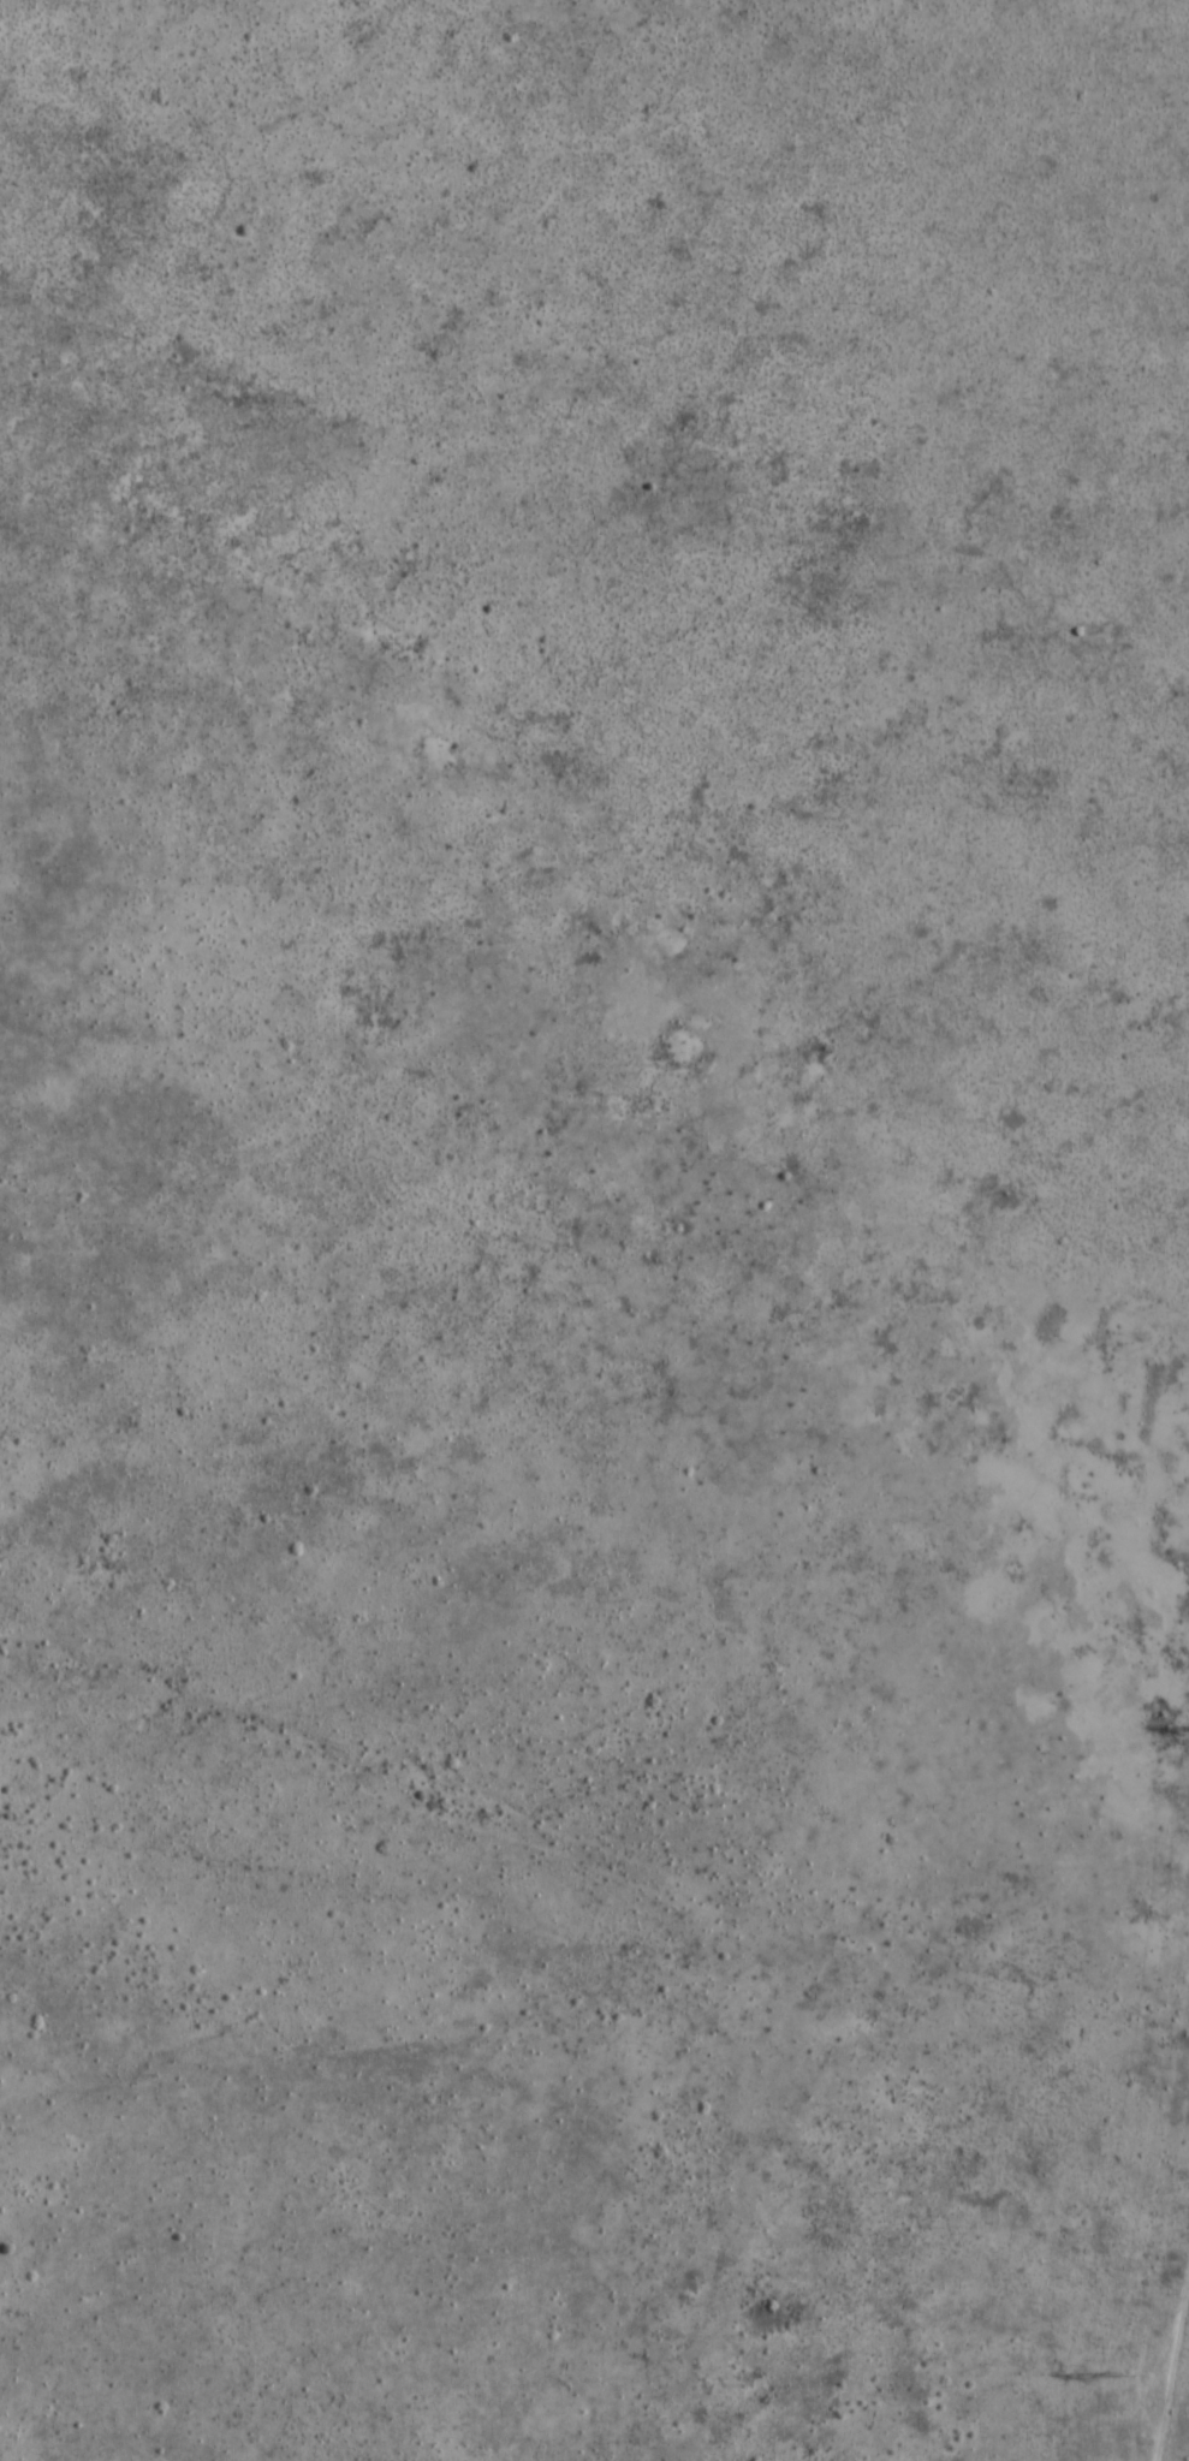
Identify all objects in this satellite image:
power tower: (1148, 2371)

